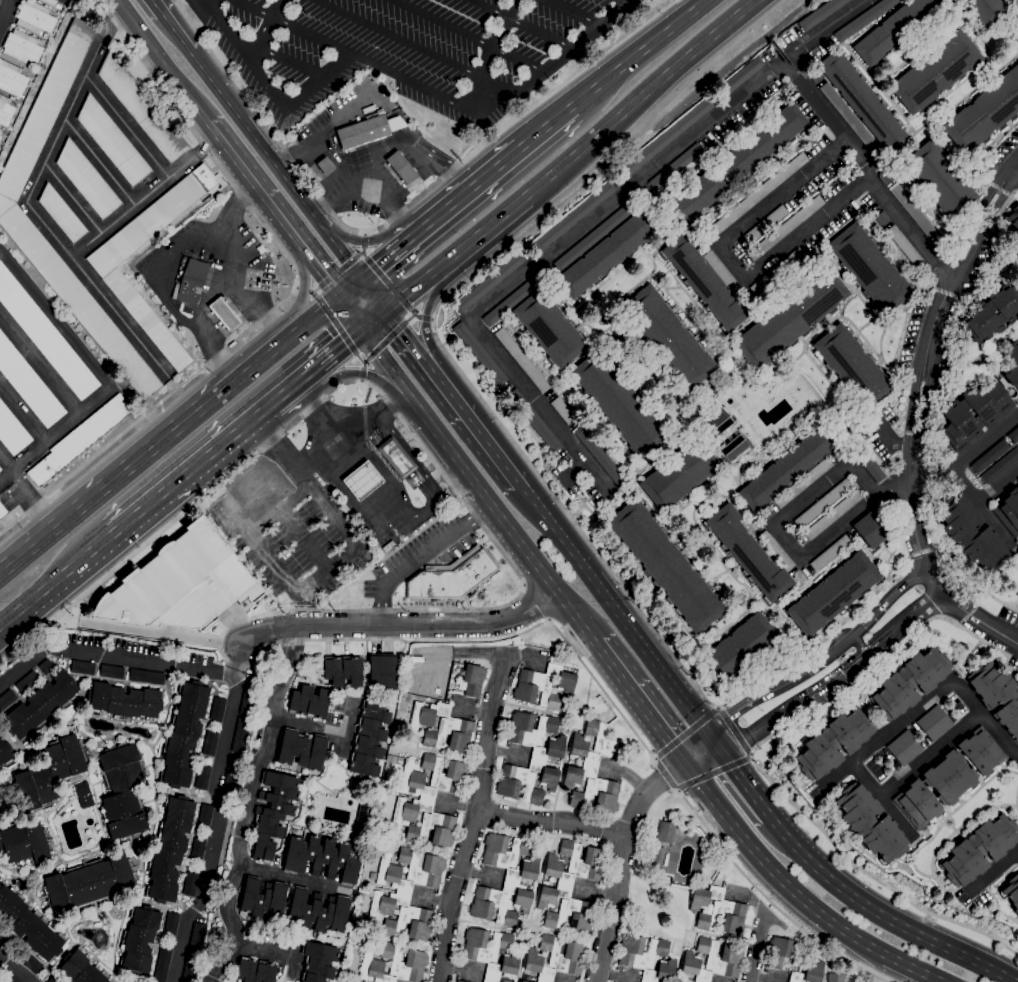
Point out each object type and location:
building: (53, 2)
road: (156, 7)
building: (987, 10)
road: (574, 12)
road: (6, 14)
building: (821, 14)
building: (35, 18)
building: (864, 19)
road: (522, 23)
building: (896, 29)
road: (176, 32)
road: (266, 32)
road: (469, 35)
road: (396, 38)
building: (22, 46)
parking lot: (397, 48)
road: (643, 50)
road: (490, 52)
road: (354, 53)
building: (767, 55)
road: (292, 61)
road: (162, 62)
road: (555, 63)
building: (37, 66)
building: (935, 72)
building: (815, 75)
building: (12, 79)
road: (659, 79)
road: (268, 89)
building: (862, 100)
building: (141, 108)
building: (6, 111)
building: (984, 112)
building: (847, 114)
building: (690, 117)
road: (551, 123)
road: (125, 126)
building: (368, 129)
building: (1, 131)
road: (318, 138)
building: (1, 139)
building: (112, 141)
building: (763, 142)
gas station: (363, 152)
road: (411, 152)
building: (878, 152)
road: (333, 160)
road: (99, 162)
road: (275, 164)
building: (325, 165)
building: (676, 166)
building: (401, 167)
road: (868, 170)
road: (1016, 171)
building: (885, 176)
building: (939, 179)
building: (87, 180)
road: (367, 181)
road: (477, 182)
road: (411, 184)
building: (756, 196)
road: (72, 198)
building: (694, 199)
building: (912, 209)
road: (507, 210)
road: (400, 212)
building: (12, 213)
building: (61, 214)
building: (575, 215)
road: (38, 218)
building: (882, 218)
building: (765, 225)
road: (579, 226)
building: (1015, 226)
road: (283, 227)
building: (786, 228)
road: (417, 233)
road: (365, 234)
building: (594, 237)
road: (377, 239)
building: (939, 242)
building: (905, 245)
building: (607, 254)
road: (730, 258)
road: (172, 267)
building: (870, 268)
road: (369, 270)
building: (721, 270)
road: (338, 271)
building: (777, 271)
building: (108, 272)
gas station: (213, 272)
building: (926, 272)
traffic signals: (361, 278)
road: (418, 281)
building: (489, 281)
building: (190, 282)
building: (705, 282)
road: (389, 284)
road: (297, 287)
road: (374, 292)
road: (303, 295)
road: (249, 296)
traffic signals: (337, 297)
road: (211, 299)
building: (514, 299)
road: (283, 300)
traffic signals: (388, 307)
road: (427, 308)
building: (224, 313)
building: (991, 313)
road: (119, 317)
road: (311, 318)
road: (424, 318)
building: (790, 318)
road: (339, 327)
building: (550, 328)
traffic signals: (361, 329)
road: (409, 334)
building: (45, 336)
road: (352, 336)
building: (668, 337)
road: (381, 343)
building: (232, 344)
building: (480, 353)
building: (522, 359)
road: (385, 363)
road: (39, 365)
building: (852, 366)
road: (98, 372)
road: (345, 374)
road: (362, 380)
road: (297, 381)
building: (28, 383)
building: (618, 403)
building: (979, 406)
building: (563, 411)
road: (22, 413)
road: (917, 419)
building: (534, 421)
road: (477, 423)
building: (716, 424)
building: (12, 431)
road: (378, 432)
building: (1013, 435)
road: (889, 436)
road: (349, 437)
building: (80, 439)
building: (733, 448)
building: (838, 454)
building: (990, 455)
building: (396, 456)
road: (397, 456)
building: (601, 456)
road: (967, 456)
road: (142, 457)
building: (871, 461)
road: (5, 462)
road: (196, 464)
building: (1000, 465)
building: (788, 467)
building: (0, 469)
road: (292, 469)
road: (574, 470)
building: (679, 474)
road: (1, 476)
road: (301, 480)
building: (362, 480)
gas station: (362, 480)
building: (804, 481)
road: (431, 482)
road: (544, 482)
road: (421, 486)
road: (998, 486)
building: (250, 497)
building: (823, 502)
road: (27, 503)
road: (983, 507)
building: (2, 510)
road: (379, 510)
building: (1008, 510)
building: (768, 513)
road: (782, 513)
building: (833, 514)
road: (503, 519)
building: (870, 529)
road: (160, 531)
building: (971, 534)
road: (239, 541)
building: (776, 550)
building: (830, 552)
building: (747, 553)
road: (422, 556)
building: (665, 565)
building: (452, 576)
road: (318, 577)
road: (57, 578)
building: (180, 583)
building: (833, 593)
road: (310, 604)
road: (923, 606)
road: (614, 608)
road: (869, 618)
road: (233, 623)
road: (404, 623)
road: (898, 626)
road: (858, 646)
building: (740, 648)
road: (869, 650)
road: (112, 656)
road: (242, 656)
building: (46, 666)
building: (82, 667)
building: (343, 670)
building: (111, 671)
building: (382, 672)
building: (146, 676)
building: (472, 679)
building: (27, 682)
road: (833, 682)
building: (910, 682)
building: (544, 685)
building: (997, 694)
building: (248, 696)
road: (758, 696)
building: (6, 699)
road: (924, 700)
building: (124, 701)
building: (309, 702)
road: (641, 704)
building: (41, 705)
building: (217, 709)
building: (934, 723)
road: (312, 725)
building: (441, 727)
road: (227, 728)
road: (736, 729)
road: (686, 733)
building: (184, 734)
building: (240, 734)
road: (751, 734)
building: (369, 739)
building: (210, 742)
building: (834, 742)
road: (696, 748)
building: (905, 748)
building: (302, 749)
building: (5, 752)
traffic signals: (722, 752)
road: (931, 755)
building: (532, 758)
building: (389, 759)
traffic signals: (686, 766)
building: (591, 770)
road: (715, 771)
building: (50, 772)
building: (233, 772)
road: (664, 773)
road: (738, 774)
building: (202, 777)
building: (949, 777)
road: (678, 791)
building: (123, 792)
building: (84, 794)
building: (429, 799)
road: (478, 799)
road: (881, 801)
road: (247, 805)
building: (273, 813)
building: (205, 816)
building: (361, 818)
road: (551, 821)
building: (870, 823)
building: (665, 832)
building: (24, 843)
building: (169, 849)
building: (198, 849)
building: (979, 849)
building: (657, 855)
building: (322, 858)
road: (621, 862)
road: (856, 867)
road: (991, 868)
building: (373, 875)
road: (293, 878)
building: (505, 879)
building: (89, 883)
building: (190, 883)
road: (205, 886)
building: (569, 886)
building: (1011, 892)
building: (405, 893)
road: (796, 895)
road: (766, 896)
building: (262, 898)
building: (360, 899)
building: (718, 910)
building: (317, 911)
road: (881, 915)
building: (29, 924)
building: (171, 924)
building: (4, 938)
building: (139, 940)
building: (196, 940)
road: (757, 947)
road: (266, 952)
building: (777, 952)
building: (490, 953)
building: (647, 957)
building: (554, 958)
building: (713, 960)
building: (30, 962)
building: (318, 962)
building: (162, 963)
building: (394, 964)
building: (0, 965)
road: (15, 967)
building: (81, 968)
building: (255, 970)
building: (190, 971)
building: (809, 973)
building: (835, 977)
building: (10, 978)
building: (53, 979)
building: (456, 981)
building: (460, 981)
building: (524, 981)

